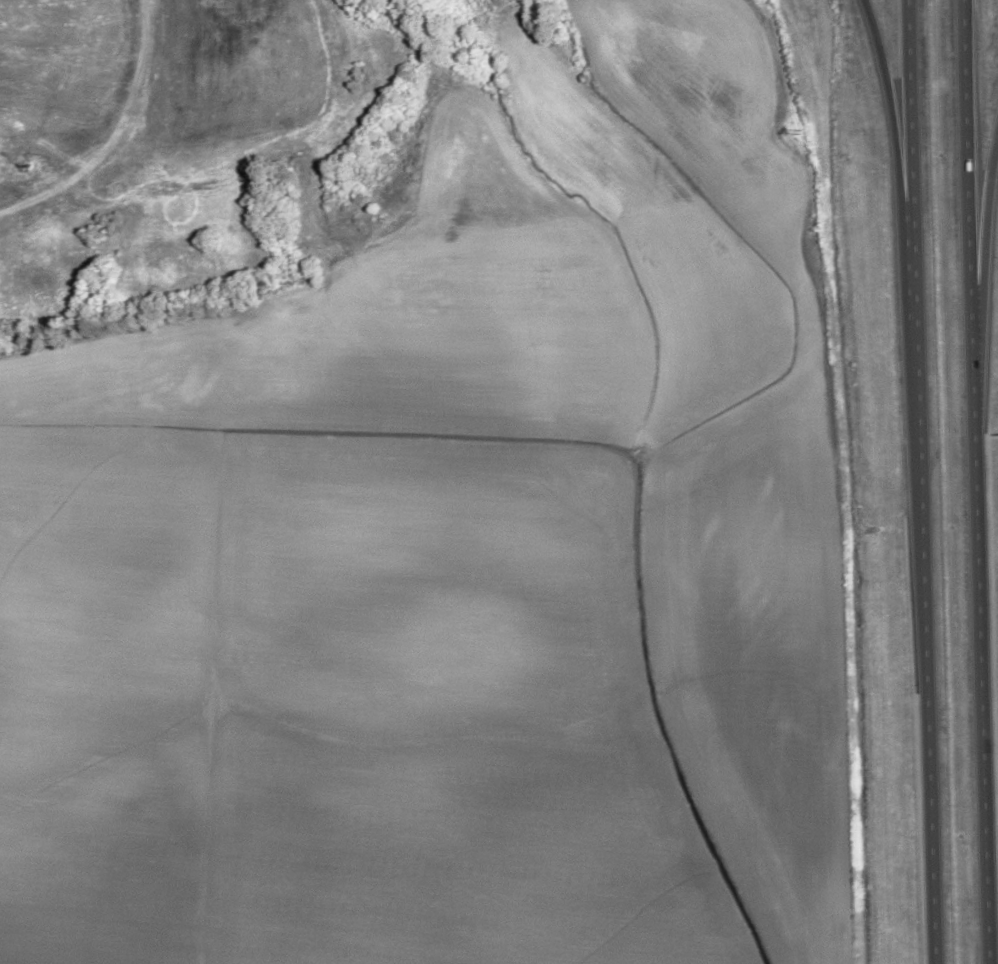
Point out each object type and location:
road: (902, 188)
road: (913, 190)
road: (970, 194)
road: (985, 259)
road: (927, 672)
road: (982, 676)

